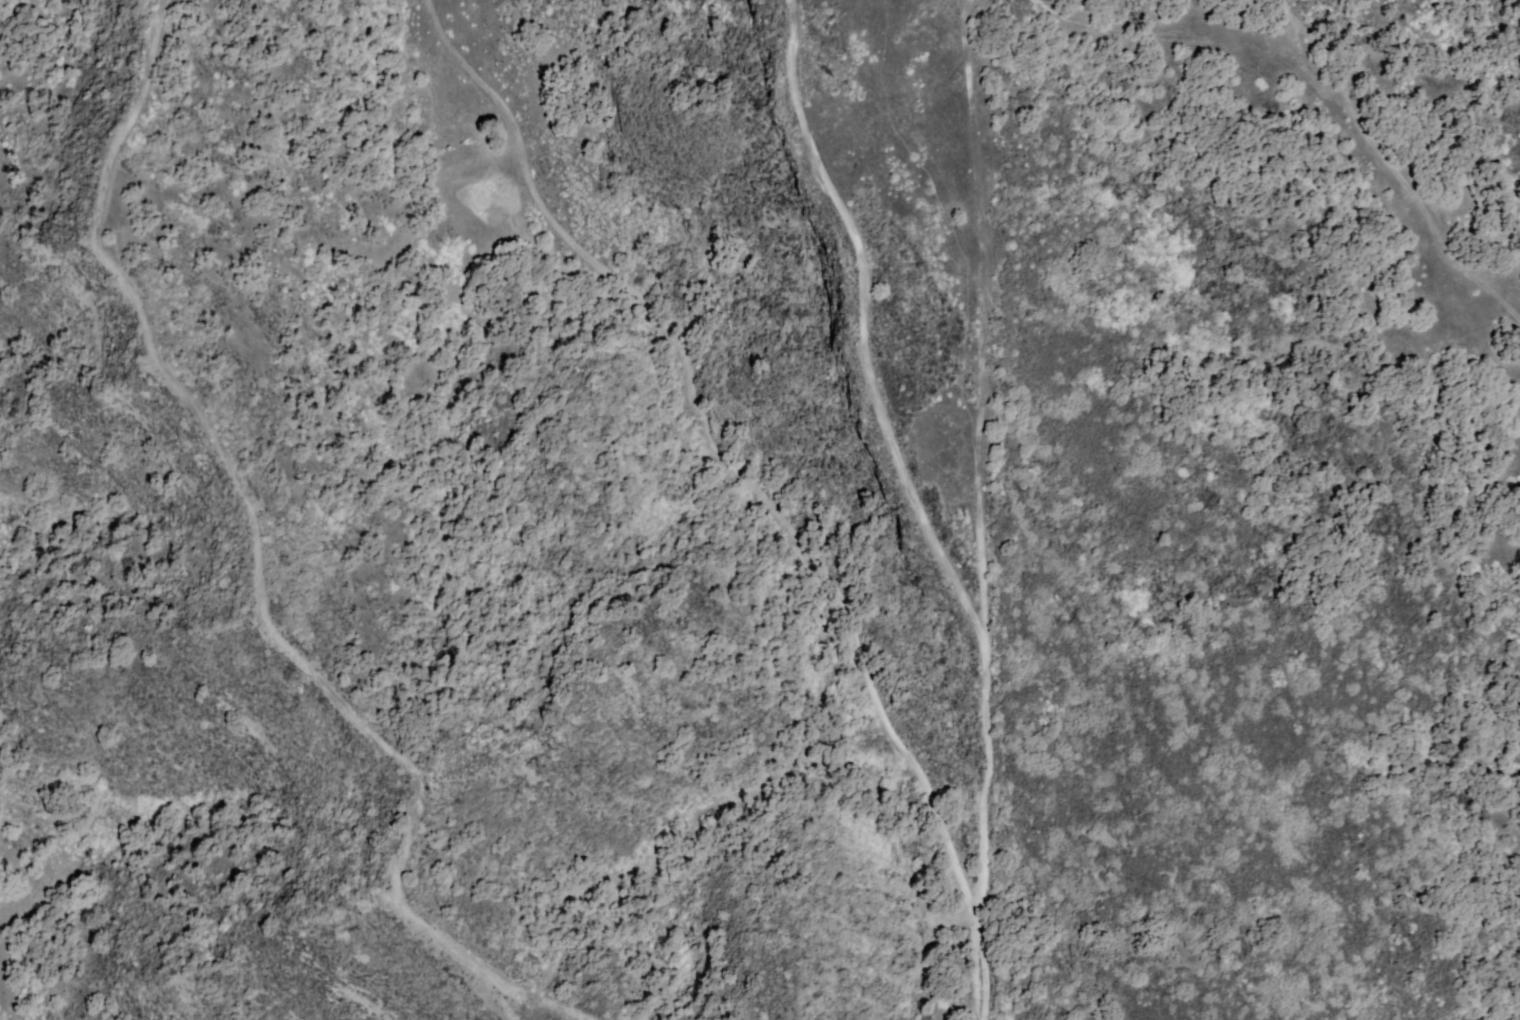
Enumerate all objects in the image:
road: (1386, 168)

